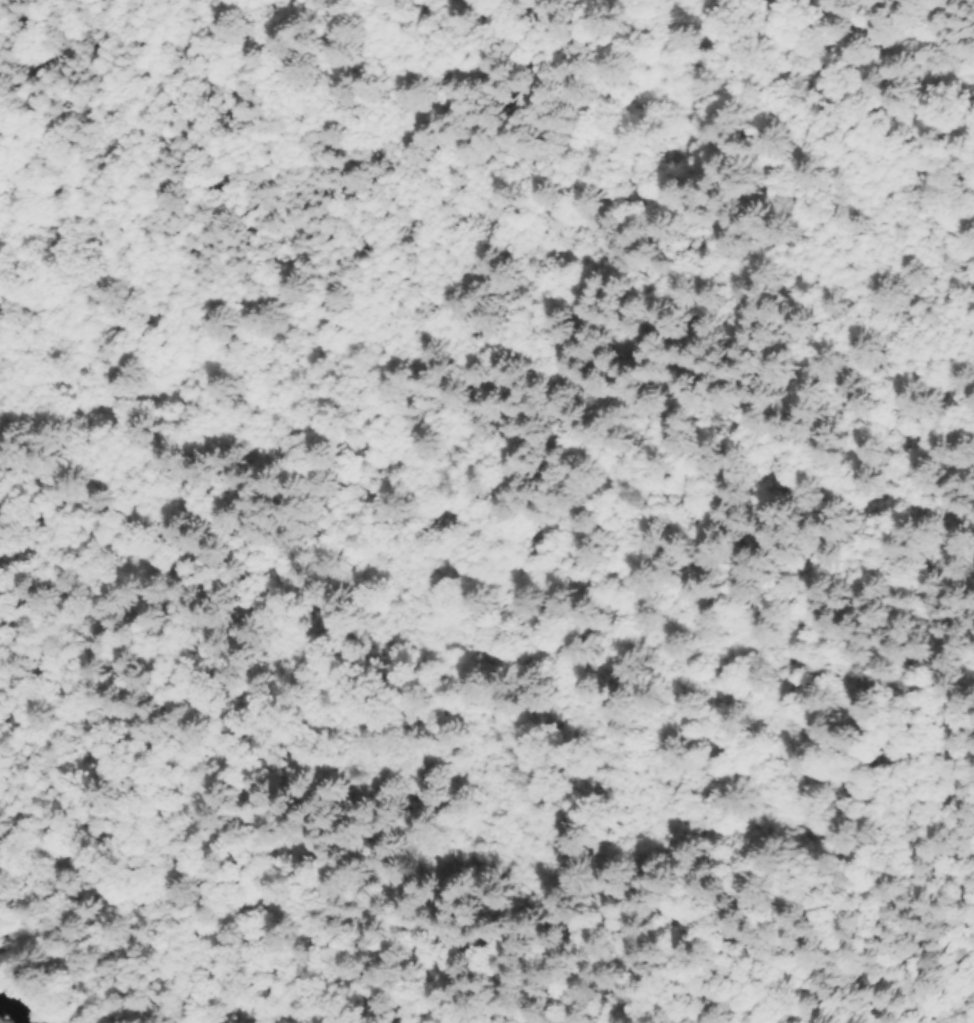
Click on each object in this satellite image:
river: (10, 1012)

